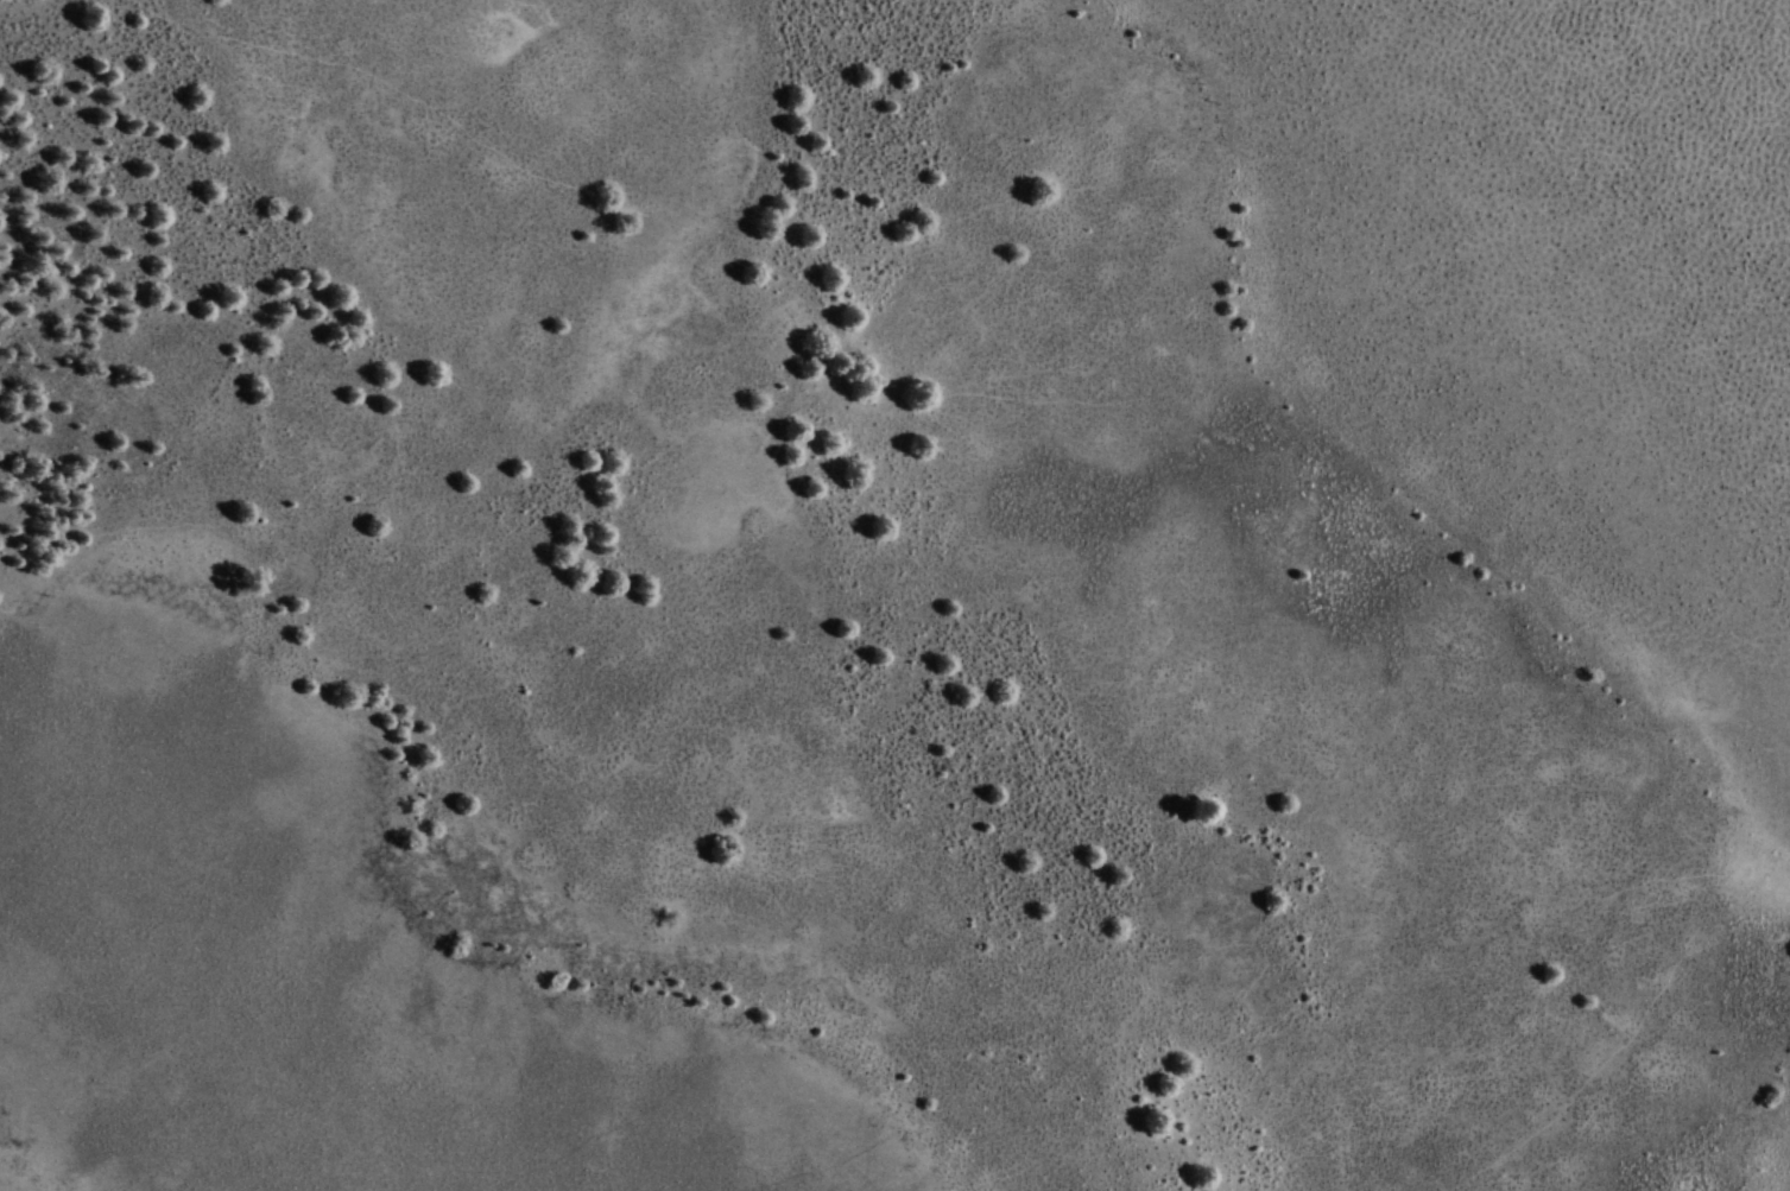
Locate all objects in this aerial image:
road: (325, 838)

